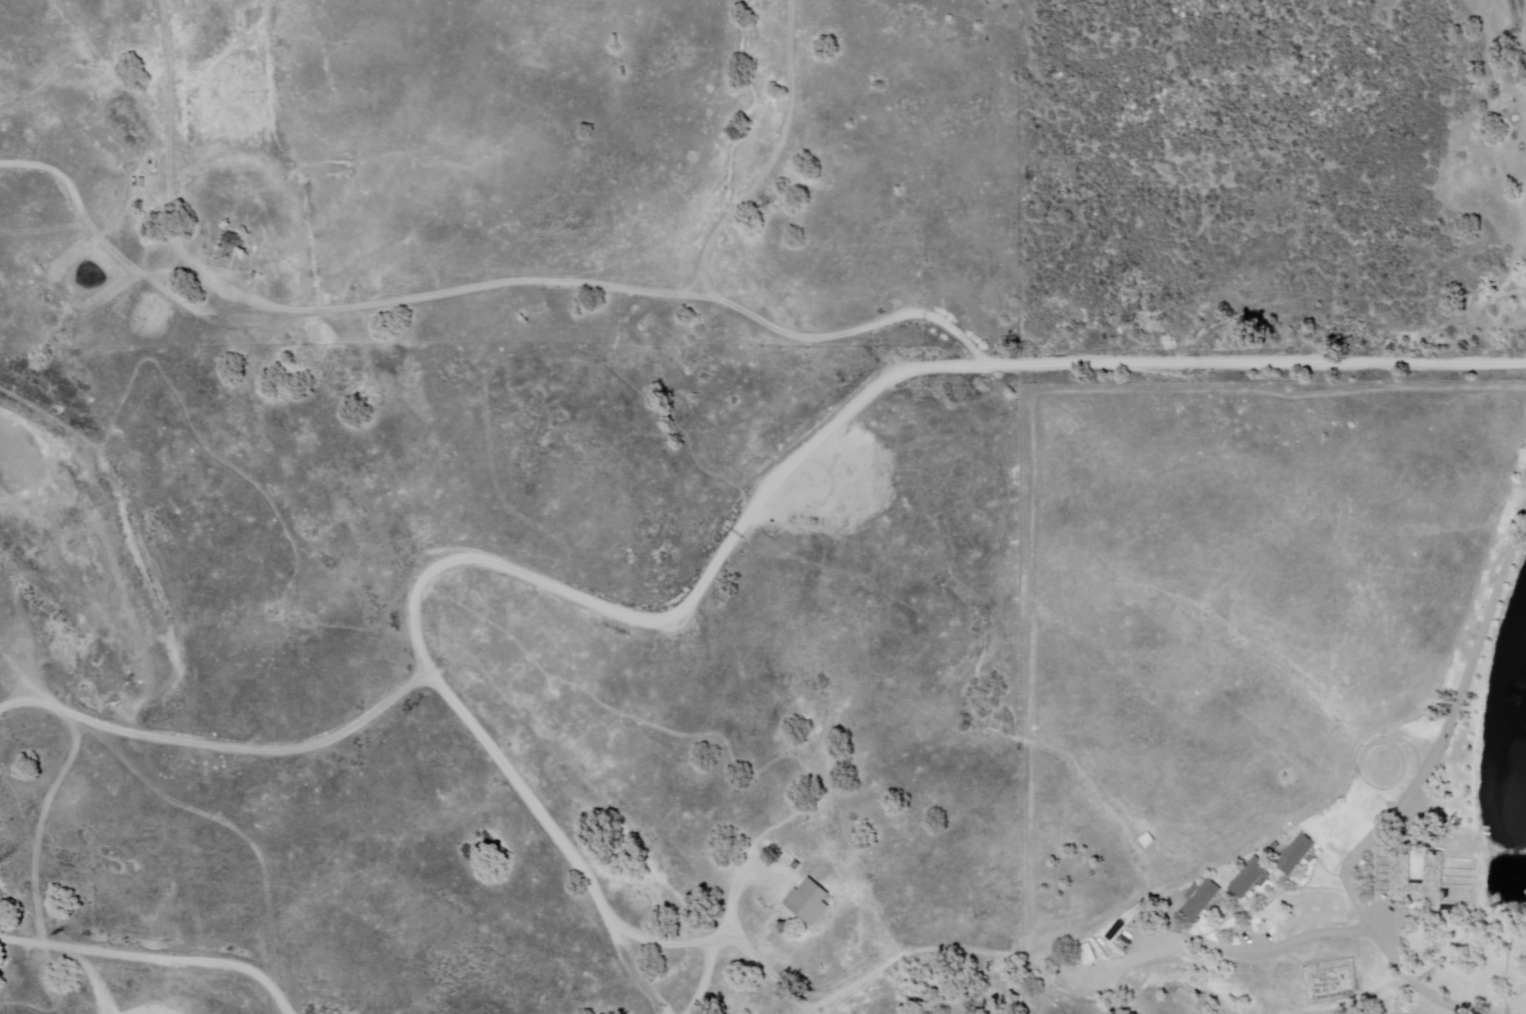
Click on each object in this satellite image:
road: (172, 127)
road: (771, 161)
building: (233, 241)
road: (590, 288)
road: (1254, 363)
road: (504, 569)
building: (1297, 854)
building: (1434, 868)
building: (1249, 879)
building: (1200, 900)
building: (809, 902)
road: (157, 948)
road: (1218, 948)
building: (1085, 954)
road: (1419, 979)

